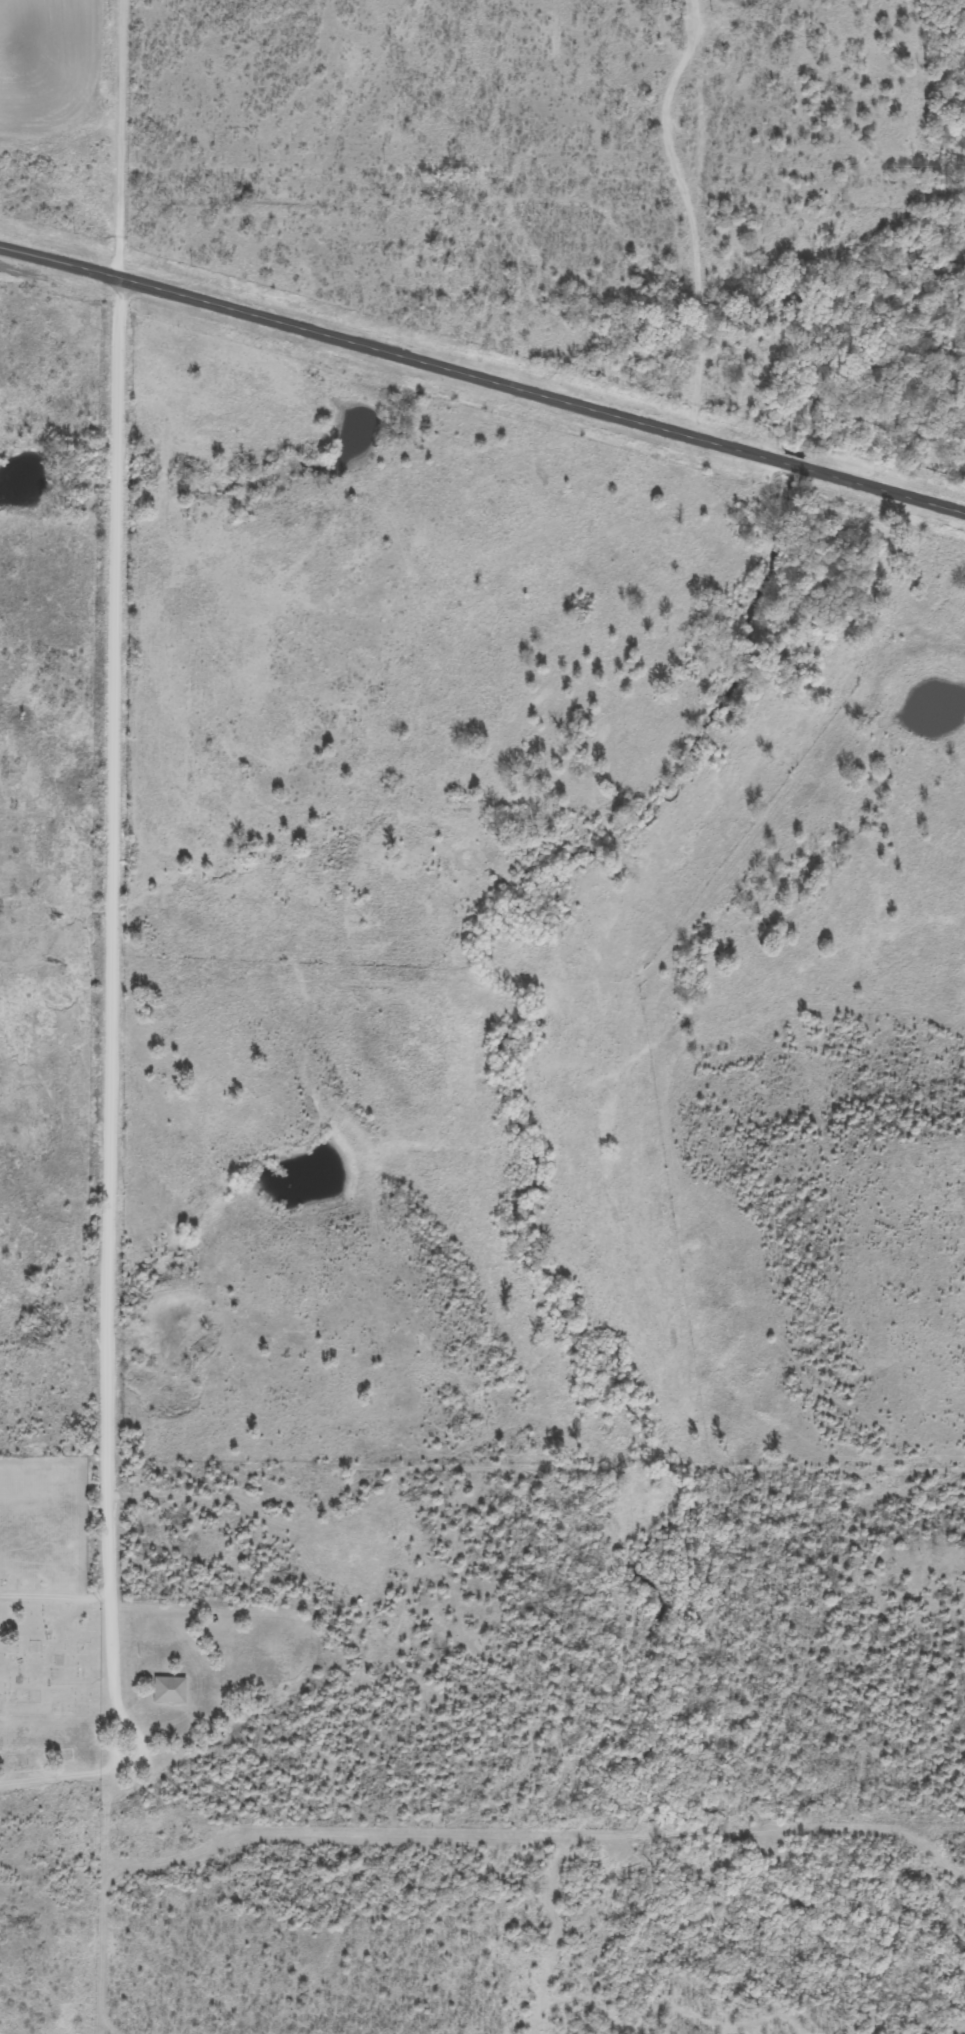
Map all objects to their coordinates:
road: (483, 378)
road: (113, 797)
park: (46, 1631)
building: (167, 1688)

